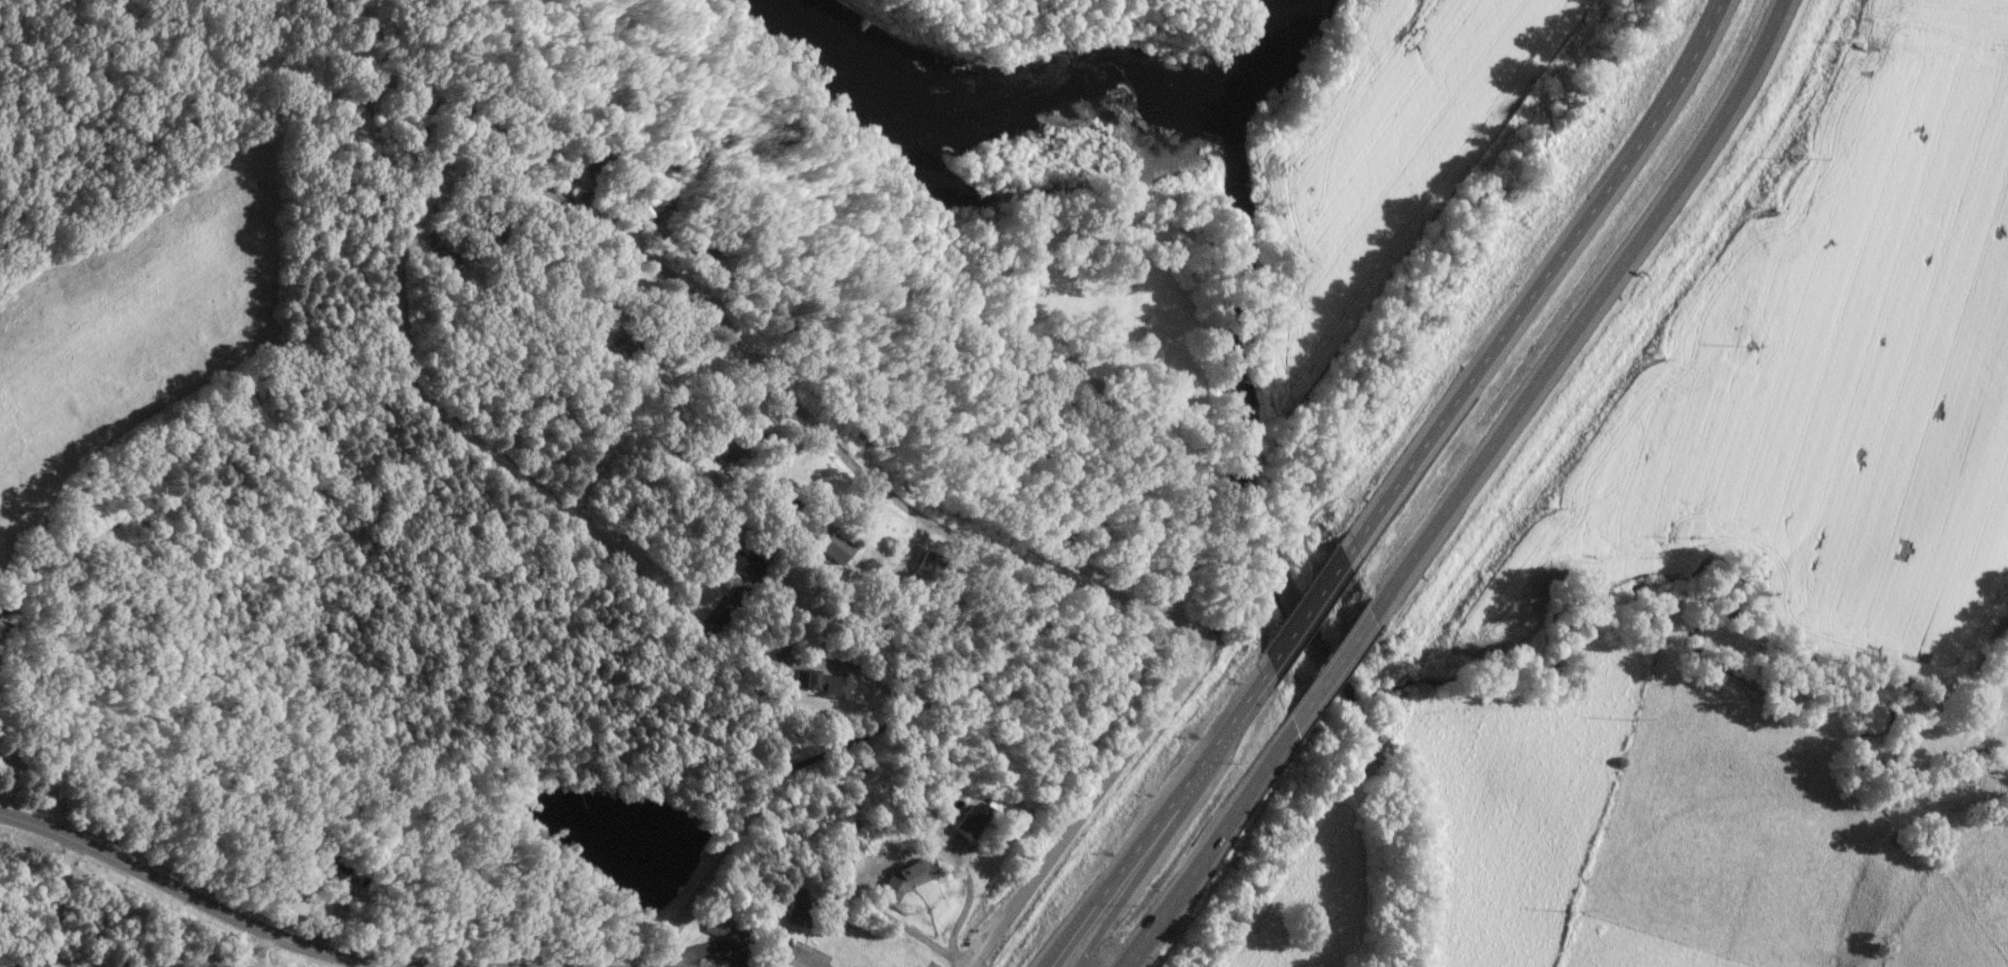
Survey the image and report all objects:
river: (1044, 84)
building: (425, 122)
building: (593, 169)
building: (633, 216)
building: (440, 248)
building: (703, 251)
road: (1533, 283)
road: (1579, 314)
building: (622, 340)
crop: (1831, 377)
road: (820, 433)
building: (729, 449)
road: (519, 480)
building: (777, 499)
building: (1049, 539)
building: (828, 546)
building: (729, 558)
building: (922, 568)
building: (7, 599)
road: (1301, 612)
building: (775, 649)
road: (1326, 671)
building: (819, 683)
road: (35, 777)
road: (753, 806)
road: (1082, 812)
road: (1155, 816)
building: (967, 823)
road: (1201, 846)
building: (332, 859)
road: (1126, 874)
road: (968, 895)
road: (198, 901)
road: (56, 903)
building: (797, 906)
road: (913, 928)
building: (719, 929)
road: (215, 954)
building: (28, 962)
road: (368, 965)

